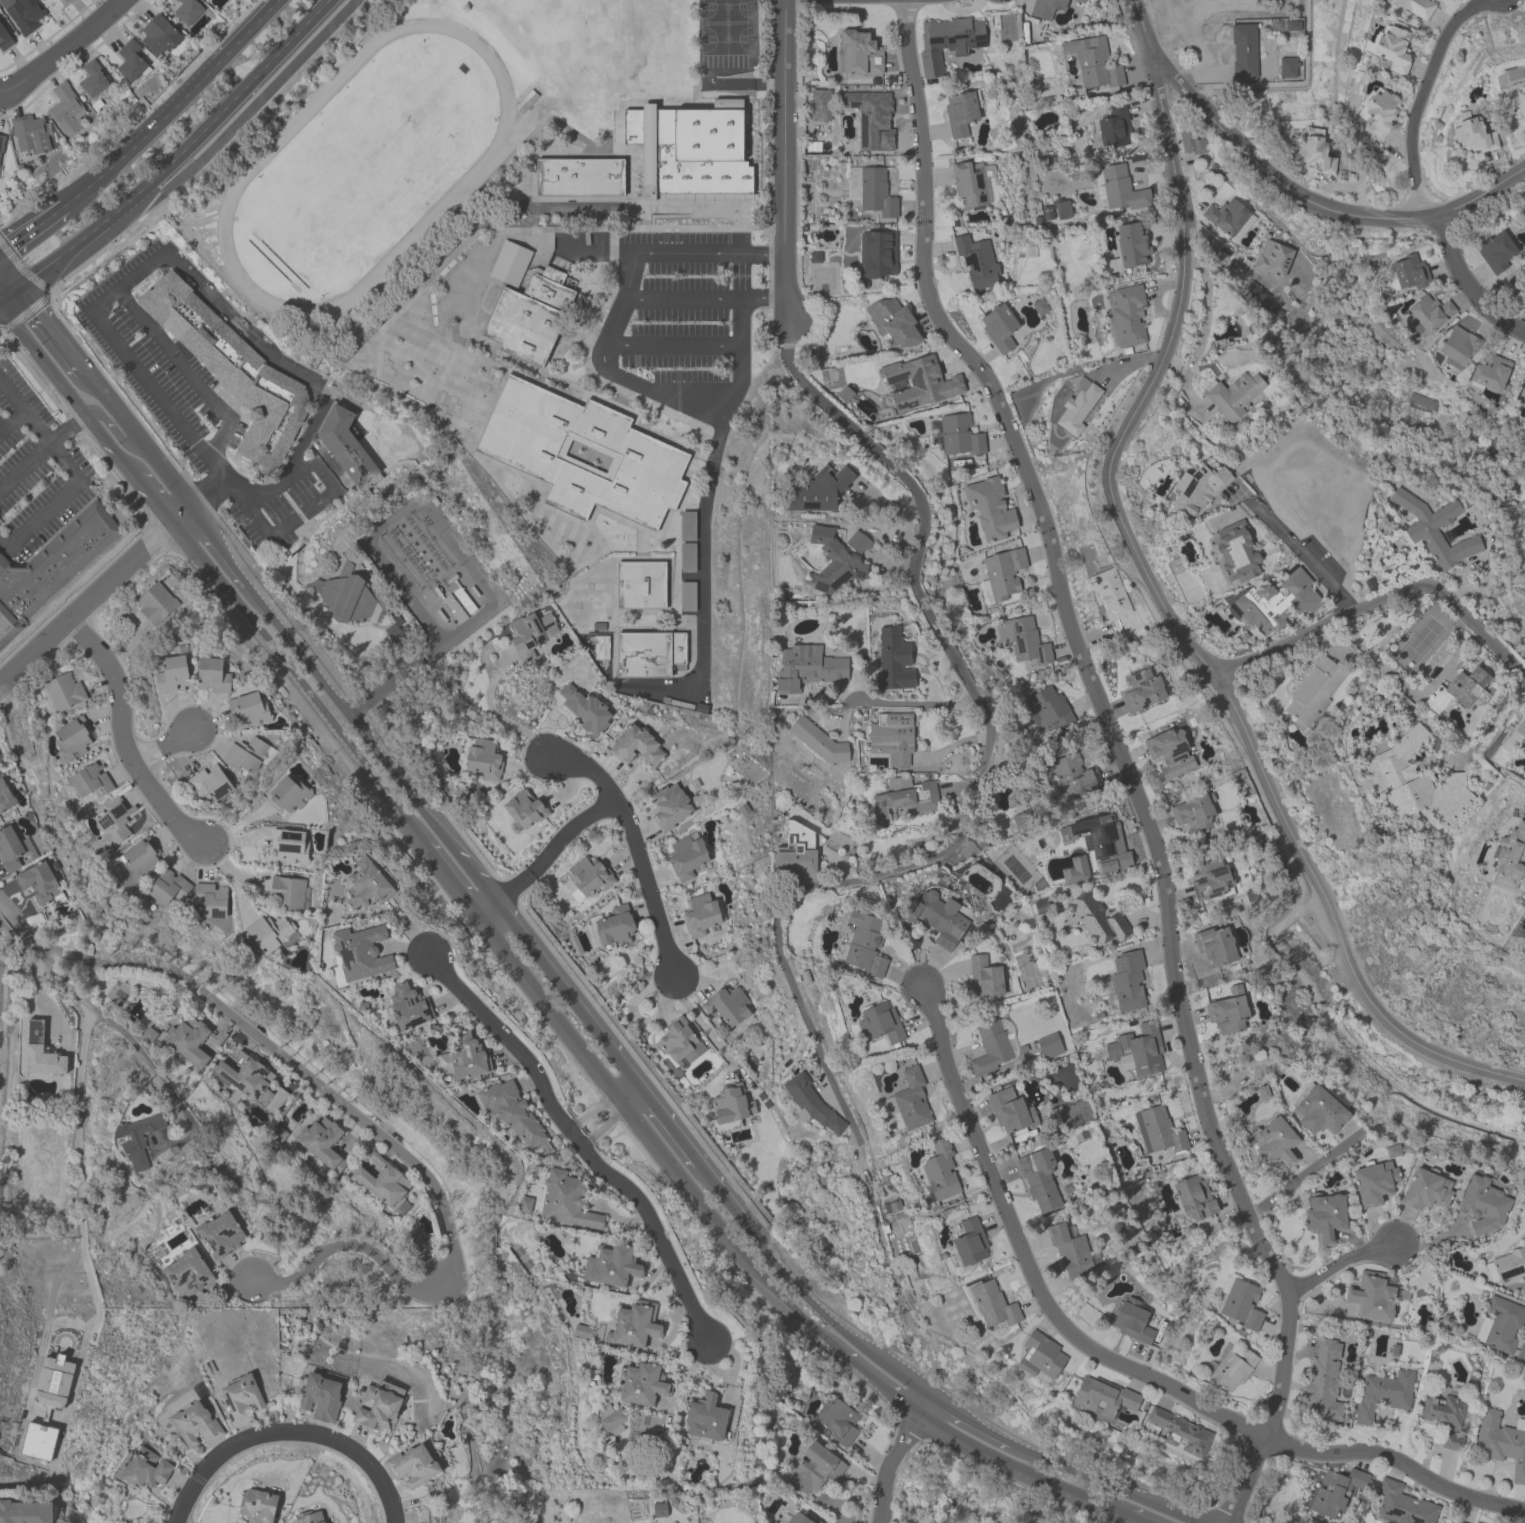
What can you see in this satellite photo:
building: (43, 0)
building: (65, 0)
building: (204, 0)
building: (1416, 6)
building: (1045, 8)
building: (187, 10)
building: (23, 13)
building: (159, 33)
building: (4, 38)
building: (948, 40)
building: (1392, 48)
building: (1243, 49)
road: (64, 52)
building: (857, 53)
building: (131, 60)
building: (1094, 63)
building: (1287, 66)
building: (93, 78)
road: (1418, 97)
building: (1517, 102)
road: (174, 103)
building: (820, 104)
building: (65, 107)
building: (961, 111)
building: (1377, 111)
road: (241, 116)
building: (871, 118)
building: (1114, 126)
building: (29, 133)
building: (1472, 135)
building: (1, 141)
building: (1191, 142)
road: (168, 151)
road: (1245, 152)
building: (1312, 152)
road: (785, 163)
track: (364, 166)
park: (695, 171)
building: (579, 176)
building: (969, 182)
building: (1118, 187)
building: (876, 191)
road: (1481, 193)
road: (61, 204)
building: (1062, 209)
road: (1427, 215)
building: (1228, 217)
road: (190, 221)
road: (27, 229)
building: (1129, 246)
building: (876, 250)
building: (1497, 251)
road: (109, 257)
road: (629, 257)
building: (1272, 257)
building: (976, 260)
road: (23, 268)
building: (1409, 271)
road: (742, 277)
road: (126, 281)
road: (1464, 286)
road: (1, 289)
road: (1, 291)
road: (765, 300)
road: (25, 310)
building: (1428, 313)
building: (1127, 315)
building: (529, 316)
building: (892, 322)
road: (240, 327)
building: (999, 327)
road: (677, 346)
building: (1457, 346)
road: (742, 357)
building: (231, 369)
building: (1488, 371)
road: (187, 374)
road: (632, 379)
building: (918, 381)
building: (1522, 391)
building: (1232, 395)
building: (1076, 408)
road: (24, 410)
road: (11, 418)
road: (179, 424)
road: (111, 427)
road: (65, 428)
building: (959, 434)
road: (718, 437)
building: (346, 447)
building: (520, 452)
road: (294, 456)
road: (63, 459)
road: (25, 467)
building: (1198, 485)
building: (819, 488)
road: (207, 492)
road: (323, 497)
building: (989, 507)
road: (41, 511)
building: (687, 525)
building: (1434, 529)
road: (3, 541)
building: (857, 541)
building: (1234, 551)
road: (1303, 554)
building: (687, 556)
building: (55, 561)
building: (834, 561)
building: (1003, 571)
power substation: (431, 572)
building: (640, 584)
road: (95, 592)
building: (1110, 593)
building: (686, 596)
building: (347, 599)
road: (1380, 599)
building: (1275, 601)
building: (156, 602)
road: (701, 606)
building: (595, 610)
building: (7, 625)
road: (1177, 628)
building: (392, 632)
building: (529, 633)
building: (1022, 638)
road: (436, 639)
building: (600, 646)
building: (648, 653)
building: (893, 659)
building: (807, 667)
building: (171, 673)
building: (212, 675)
building: (1467, 686)
building: (1142, 688)
building: (1313, 690)
road: (1410, 690)
building: (63, 692)
road: (912, 703)
building: (249, 708)
building: (585, 709)
building: (1047, 709)
road: (495, 712)
building: (891, 737)
building: (71, 738)
road: (125, 738)
building: (1515, 738)
building: (818, 740)
road: (161, 745)
building: (635, 746)
building: (1169, 751)
building: (248, 754)
building: (483, 758)
road: (1122, 759)
road: (981, 768)
building: (1071, 775)
building: (90, 780)
building: (210, 782)
building: (1416, 783)
building: (287, 794)
building: (5, 796)
building: (905, 796)
building: (669, 805)
building: (525, 808)
building: (1193, 812)
building: (114, 820)
building: (1099, 840)
road: (633, 844)
building: (289, 845)
building: (9, 849)
building: (795, 849)
building: (686, 855)
road: (545, 856)
building: (1510, 856)
building: (138, 860)
building: (589, 875)
building: (1210, 880)
building: (40, 883)
building: (366, 884)
building: (165, 889)
building: (287, 891)
building: (210, 898)
building: (700, 914)
building: (938, 917)
building: (1096, 918)
building: (615, 926)
road: (2, 927)
building: (271, 932)
road: (36, 943)
building: (863, 943)
building: (1215, 944)
building: (360, 952)
road: (519, 969)
road: (549, 969)
building: (984, 976)
building: (1127, 979)
building: (726, 1004)
building: (407, 1007)
building: (1227, 1010)
building: (879, 1022)
road: (707, 1030)
building: (191, 1039)
road: (507, 1039)
building: (679, 1040)
building: (1046, 1044)
building: (990, 1046)
building: (1137, 1049)
building: (40, 1051)
building: (463, 1057)
road: (161, 1079)
building: (249, 1081)
building: (908, 1101)
building: (809, 1102)
building: (729, 1108)
building: (1010, 1109)
building: (511, 1110)
building: (1316, 1110)
road: (606, 1111)
building: (1158, 1130)
building: (137, 1138)
building: (321, 1141)
building: (1273, 1142)
road: (79, 1147)
road: (403, 1152)
building: (940, 1170)
road: (1302, 1175)
building: (1039, 1178)
building: (383, 1181)
building: (1373, 1181)
building: (1425, 1189)
building: (1193, 1197)
building: (567, 1200)
building: (1482, 1204)
building: (1324, 1215)
road: (653, 1228)
building: (220, 1234)
building: (1524, 1235)
building: (1524, 1238)
road: (1430, 1240)
building: (970, 1241)
building: (1069, 1250)
road: (1339, 1261)
building: (611, 1265)
building: (1507, 1265)
building: (187, 1272)
building: (1371, 1295)
building: (1524, 1295)
building: (994, 1304)
building: (1241, 1304)
building: (1131, 1320)
building: (1499, 1323)
building: (634, 1324)
building: (1521, 1351)
building: (1039, 1355)
road: (733, 1360)
road: (1118, 1362)
building: (1232, 1367)
building: (53, 1380)
building: (1323, 1381)
building: (642, 1383)
building: (1383, 1393)
building: (320, 1396)
building: (1103, 1397)
building: (240, 1398)
building: (377, 1403)
building: (1441, 1407)
building: (705, 1416)
building: (610, 1418)
building: (838, 1420)
building: (194, 1423)
road: (285, 1426)
building: (1180, 1431)
building: (37, 1440)
building: (1451, 1441)
building: (1500, 1442)
road: (893, 1456)
building: (413, 1465)
building: (815, 1467)
building: (145, 1468)
building: (1336, 1490)
building: (1403, 1504)
building: (258, 1505)
building: (24, 1511)
building: (308, 1517)
building: (800, 1518)
building: (1457, 1521)

